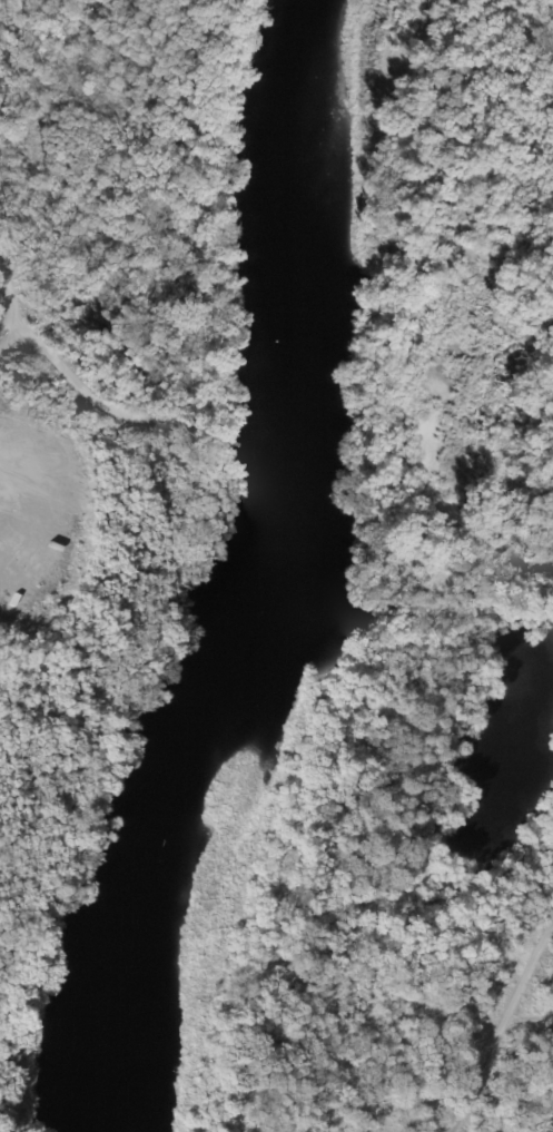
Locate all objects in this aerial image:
river: (257, 571)
road: (502, 1027)

